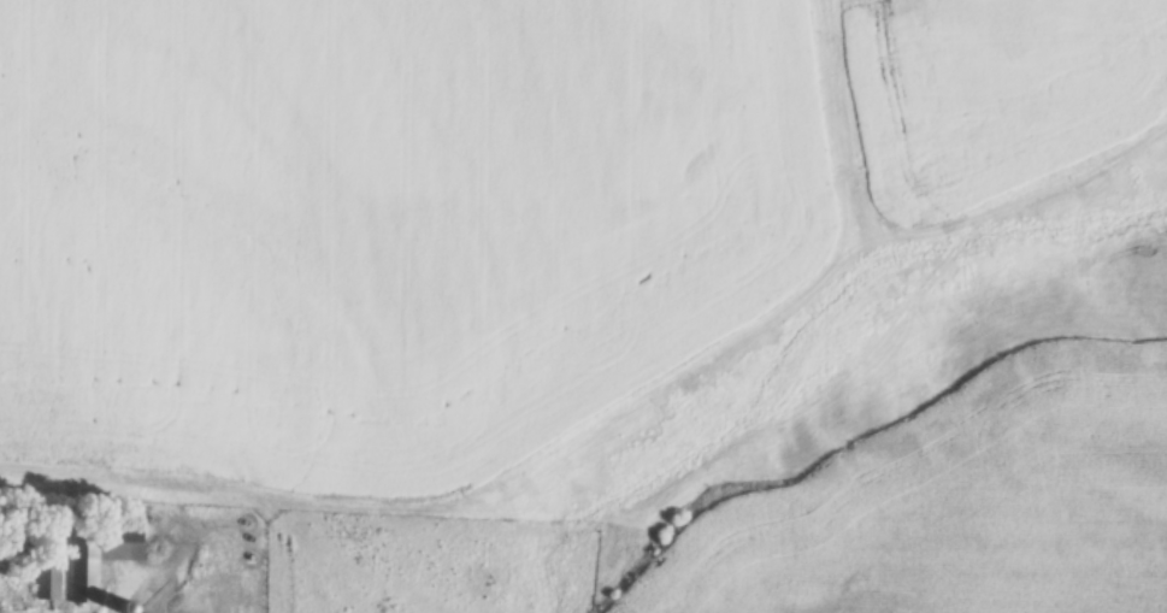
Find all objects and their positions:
building: (100, 558)

